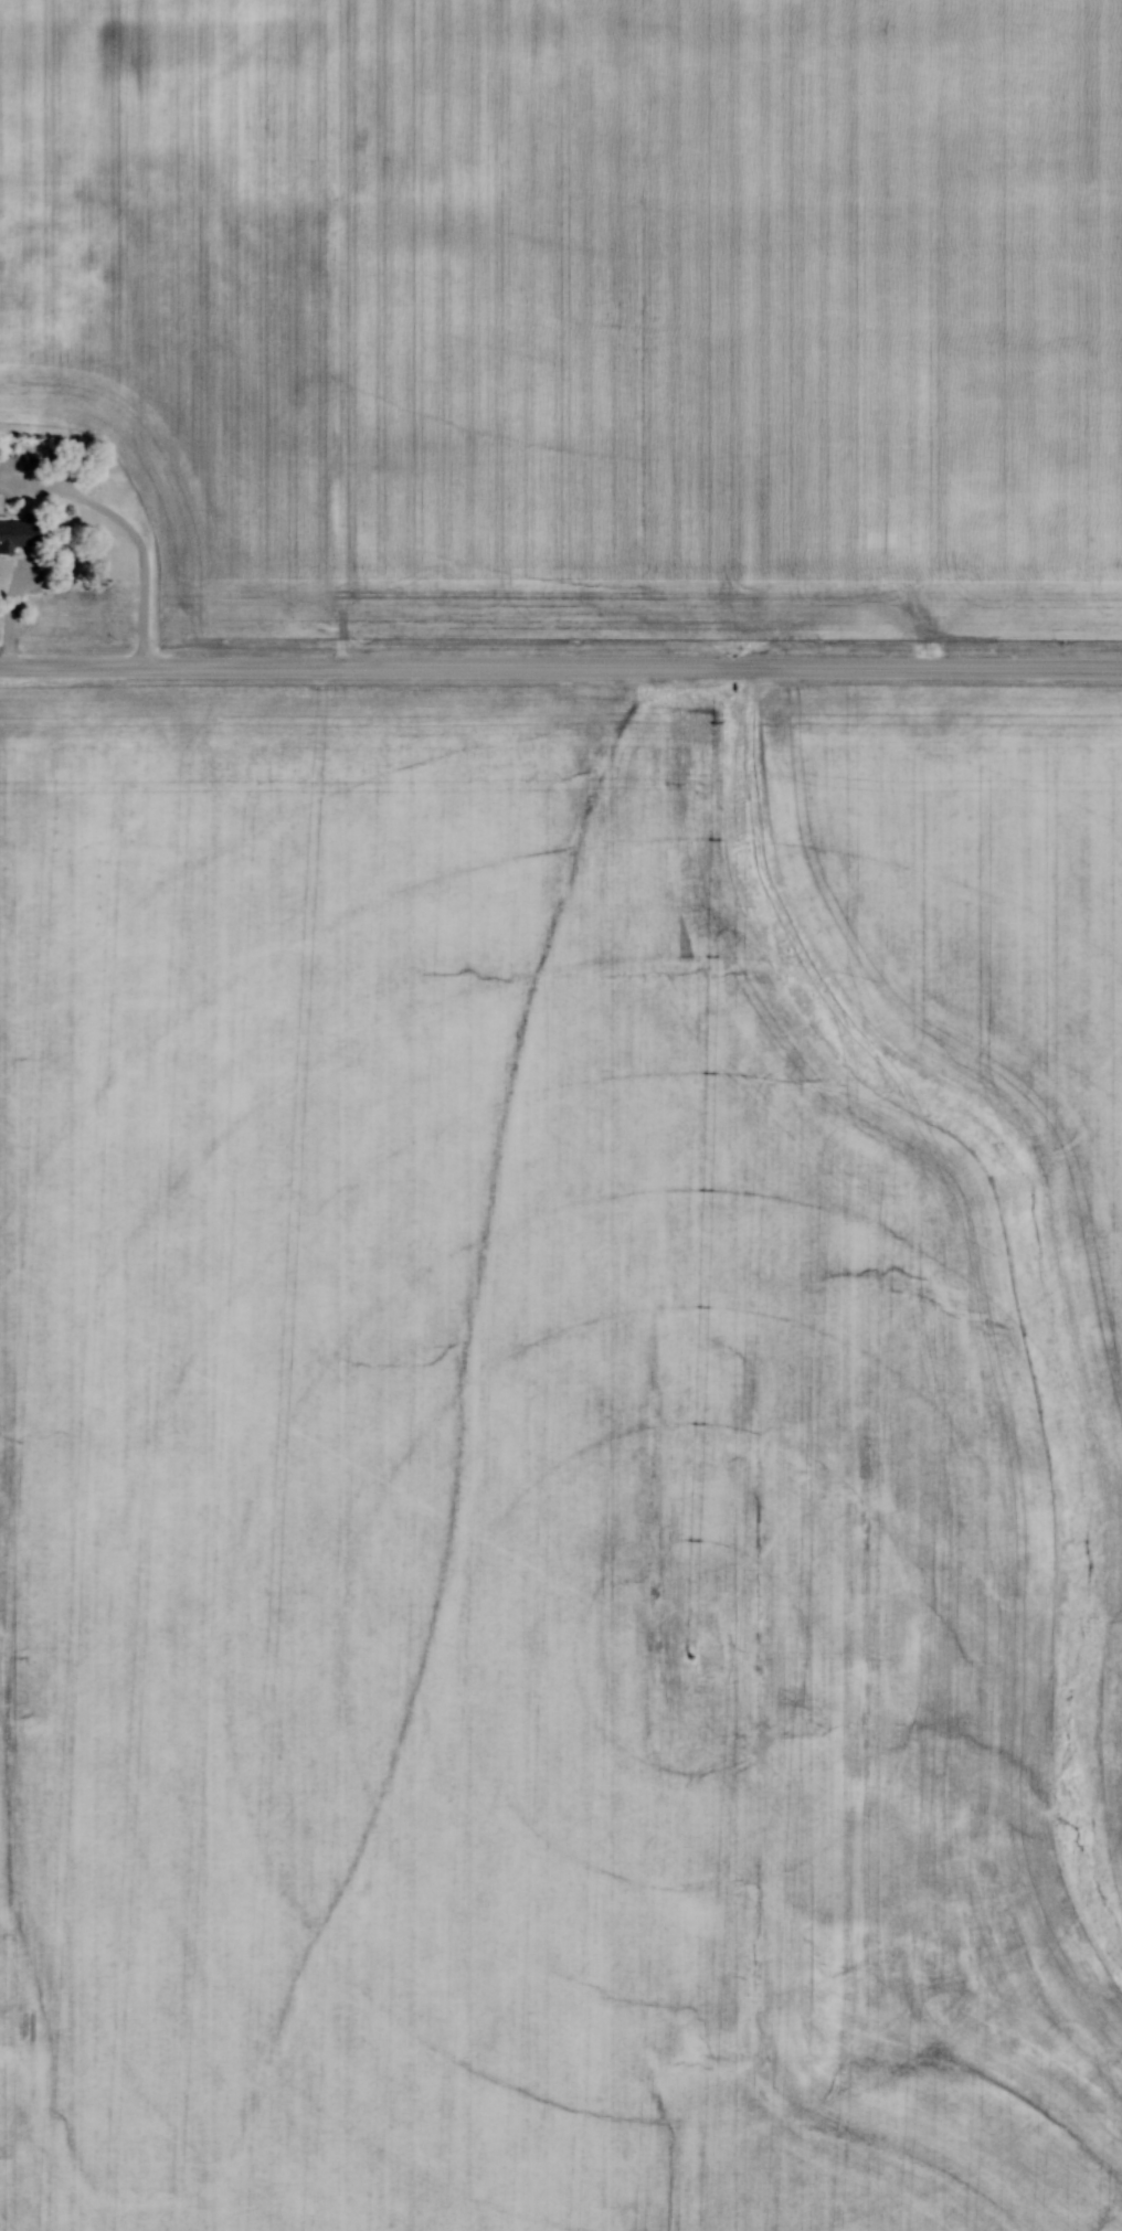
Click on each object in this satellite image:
road: (77, 448)
building: (14, 533)
road: (561, 671)

